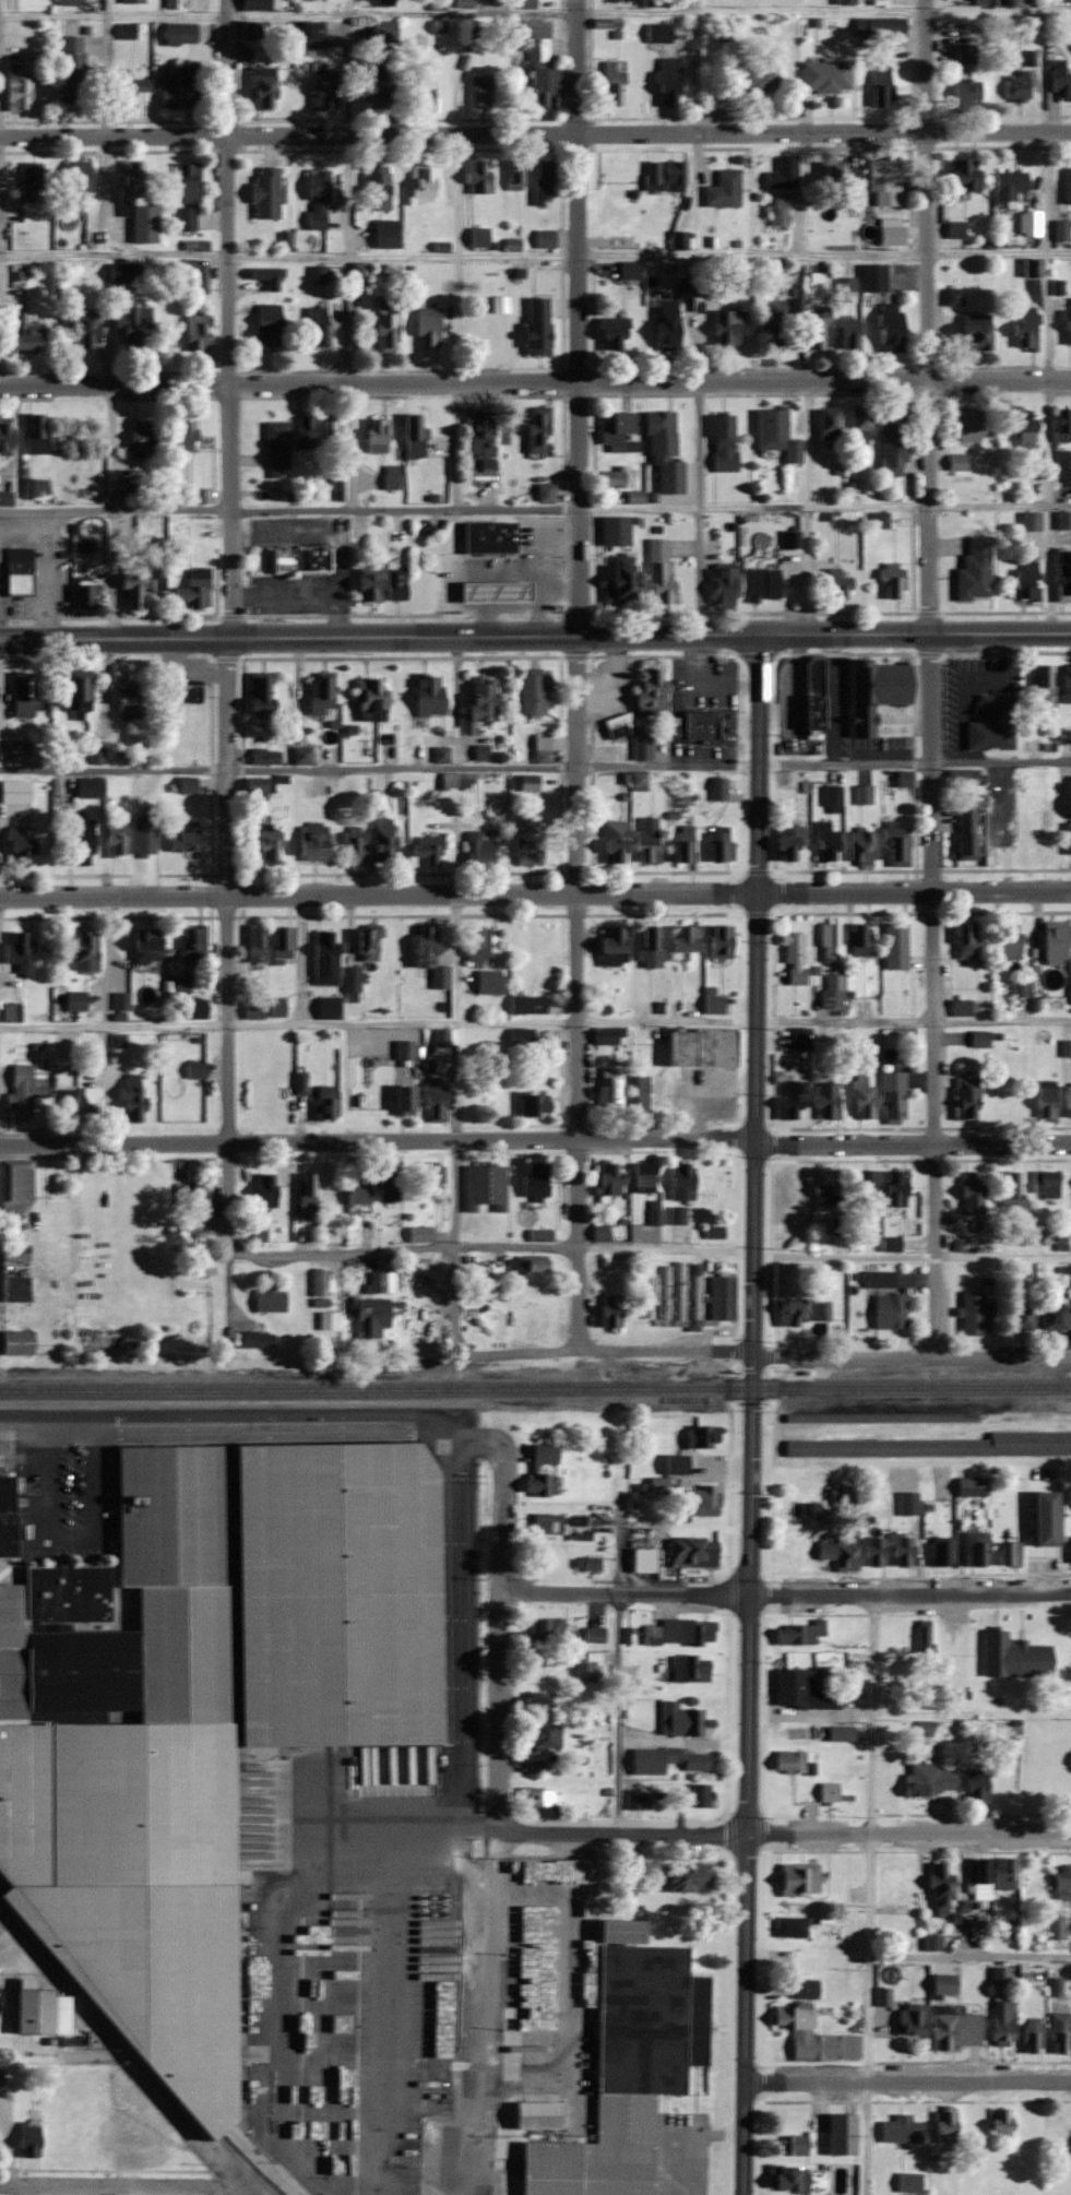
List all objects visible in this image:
building: (382, 2)
building: (843, 2)
building: (67, 3)
building: (462, 3)
road: (823, 12)
road: (289, 14)
road: (459, 15)
building: (878, 27)
building: (124, 32)
building: (382, 32)
building: (656, 33)
building: (178, 34)
building: (309, 34)
building: (531, 38)
building: (378, 51)
building: (963, 54)
road: (694, 64)
road: (105, 66)
building: (70, 70)
building: (823, 76)
building: (750, 79)
building: (1059, 80)
building: (665, 82)
building: (608, 85)
building: (1015, 85)
building: (374, 87)
building: (879, 88)
building: (259, 90)
building: (322, 90)
building: (14, 91)
building: (178, 91)
building: (421, 91)
building: (539, 91)
building: (127, 92)
building: (478, 92)
building: (965, 92)
road: (535, 130)
building: (782, 174)
building: (512, 175)
building: (962, 175)
building: (663, 177)
building: (831, 177)
building: (881, 177)
building: (475, 178)
building: (74, 179)
building: (1067, 181)
building: (28, 182)
building: (129, 182)
building: (420, 182)
building: (540, 183)
building: (185, 185)
building: (1007, 186)
building: (722, 190)
road: (227, 191)
building: (373, 191)
building: (263, 193)
road: (105, 200)
building: (314, 200)
building: (776, 212)
building: (1031, 223)
building: (142, 225)
building: (954, 229)
building: (889, 232)
building: (383, 234)
building: (476, 237)
building: (543, 239)
road: (463, 251)
road: (999, 251)
building: (628, 270)
building: (264, 277)
building: (871, 277)
building: (197, 280)
building: (951, 296)
road: (927, 317)
road: (454, 318)
road: (580, 318)
building: (771, 322)
building: (664, 324)
building: (1066, 324)
building: (316, 327)
building: (535, 327)
building: (724, 327)
building: (1024, 327)
building: (80, 328)
building: (134, 328)
building: (265, 328)
building: (426, 328)
building: (888, 328)
building: (382, 329)
building: (817, 329)
building: (480, 330)
building: (193, 332)
building: (610, 333)
building: (848, 333)
building: (22, 334)
building: (972, 339)
road: (535, 382)
road: (1048, 382)
building: (965, 424)
building: (858, 425)
building: (1020, 426)
building: (1061, 426)
building: (776, 428)
building: (825, 428)
building: (535, 430)
building: (617, 431)
building: (329, 432)
building: (302, 434)
building: (180, 435)
building: (33, 436)
building: (138, 437)
building: (412, 437)
building: (374, 438)
building: (727, 438)
building: (3, 439)
building: (480, 439)
building: (891, 442)
road: (348, 446)
building: (274, 449)
building: (662, 451)
building: (1063, 461)
building: (389, 477)
building: (611, 478)
building: (33, 489)
building: (543, 494)
building: (190, 497)
building: (633, 497)
road: (825, 505)
road: (404, 506)
road: (808, 508)
road: (698, 509)
road: (110, 512)
road: (115, 512)
road: (230, 512)
building: (1030, 521)
building: (614, 531)
building: (487, 538)
building: (297, 561)
building: (973, 570)
building: (658, 571)
building: (16, 572)
building: (1062, 577)
building: (891, 581)
building: (154, 583)
building: (367, 583)
building: (1024, 583)
building: (757, 584)
building: (393, 585)
building: (618, 585)
building: (836, 585)
building: (721, 589)
building: (190, 590)
building: (130, 591)
building: (490, 593)
building: (81, 597)
road: (535, 638)
building: (883, 681)
building: (1064, 689)
building: (180, 690)
building: (531, 690)
building: (1042, 690)
building: (78, 691)
building: (648, 691)
building: (318, 692)
building: (258, 693)
building: (427, 693)
building: (816, 693)
building: (21, 695)
building: (368, 698)
building: (127, 699)
building: (476, 699)
building: (990, 723)
building: (698, 726)
building: (640, 746)
building: (11, 749)
building: (439, 754)
building: (106, 755)
building: (300, 755)
building: (262, 756)
road: (535, 764)
building: (962, 776)
building: (636, 780)
building: (185, 784)
building: (87, 786)
building: (254, 787)
building: (716, 787)
building: (13, 792)
building: (862, 794)
building: (832, 798)
building: (965, 833)
building: (1067, 837)
building: (381, 839)
building: (645, 839)
building: (112, 840)
building: (180, 840)
building: (310, 840)
building: (79, 841)
building: (612, 841)
building: (785, 841)
building: (264, 842)
building: (682, 842)
building: (824, 842)
building: (353, 843)
building: (526, 843)
building: (717, 843)
building: (141, 845)
building: (895, 845)
building: (17, 846)
building: (858, 846)
building: (477, 850)
building: (425, 851)
road: (535, 893)
building: (682, 937)
building: (858, 939)
building: (717, 940)
building: (964, 940)
building: (1008, 940)
building: (1051, 941)
building: (281, 942)
building: (829, 942)
building: (365, 944)
building: (901, 944)
building: (143, 945)
building: (190, 945)
building: (253, 945)
building: (475, 945)
building: (647, 946)
building: (610, 947)
building: (83, 950)
building: (17, 953)
building: (428, 954)
building: (323, 957)
building: (800, 957)
road: (297, 959)
building: (486, 982)
building: (349, 983)
building: (1019, 986)
road: (227, 988)
building: (831, 990)
building: (1070, 993)
road: (579, 994)
road: (932, 996)
building: (73, 1000)
building: (525, 1002)
building: (711, 1004)
building: (192, 1007)
building: (326, 1007)
building: (959, 1007)
building: (250, 1010)
building: (9, 1012)
road: (913, 1016)
road: (104, 1019)
road: (378, 1021)
building: (606, 1034)
building: (799, 1037)
building: (978, 1039)
building: (700, 1047)
building: (402, 1048)
building: (192, 1069)
building: (298, 1082)
building: (19, 1091)
building: (607, 1091)
building: (644, 1094)
building: (129, 1095)
building: (400, 1096)
building: (891, 1096)
building: (860, 1097)
building: (964, 1097)
building: (432, 1099)
building: (788, 1100)
building: (824, 1100)
building: (1044, 1100)
building: (1067, 1100)
building: (323, 1101)
building: (361, 1101)
building: (529, 1103)
building: (87, 1104)
building: (1004, 1104)
building: (66, 1107)
road: (535, 1138)
building: (604, 1176)
building: (431, 1178)
building: (533, 1179)
building: (642, 1179)
building: (475, 1180)
building: (386, 1182)
building: (680, 1182)
building: (1044, 1184)
building: (14, 1185)
building: (865, 1185)
building: (326, 1187)
building: (355, 1187)
building: (826, 1187)
building: (894, 1188)
building: (1010, 1190)
building: (261, 1191)
building: (305, 1191)
building: (969, 1194)
building: (786, 1198)
building: (192, 1209)
building: (676, 1215)
building: (653, 1217)
building: (255, 1233)
building: (597, 1233)
building: (712, 1233)
building: (418, 1234)
building: (955, 1238)
road: (456, 1247)
road: (650, 1247)
building: (532, 1262)
building: (12, 1272)
building: (877, 1279)
building: (378, 1281)
building: (663, 1285)
building: (318, 1288)
building: (647, 1288)
building: (721, 1297)
building: (694, 1298)
building: (266, 1300)
building: (608, 1310)
building: (801, 1312)
building: (889, 1312)
building: (971, 1313)
building: (1019, 1318)
building: (1054, 1318)
building: (427, 1319)
building: (326, 1320)
building: (362, 1320)
building: (524, 1325)
building: (254, 1339)
building: (14, 1342)
road: (767, 1352)
railway: (535, 1388)
road: (754, 1415)
road: (912, 1426)
building: (700, 1436)
building: (940, 1446)
building: (567, 1454)
road: (909, 1456)
building: (674, 1463)
building: (534, 1469)
building: (656, 1485)
building: (969, 1486)
building: (702, 1502)
building: (906, 1503)
building: (1045, 1518)
building: (545, 1522)
building: (980, 1546)
building: (899, 1549)
building: (871, 1551)
building: (937, 1551)
building: (1069, 1551)
road: (618, 1552)
building: (690, 1552)
building: (837, 1553)
building: (1008, 1553)
building: (640, 1561)
building: (585, 1564)
road: (786, 1592)
road: (500, 1617)
building: (544, 1629)
building: (679, 1633)
building: (797, 1634)
building: (592, 1635)
building: (923, 1638)
building: (1020, 1653)
building: (585, 1669)
building: (689, 1669)
building: (801, 1690)
building: (535, 1701)
building: (199, 1706)
road: (616, 1710)
road: (971, 1713)
road: (811, 1715)
building: (679, 1720)
building: (787, 1732)
building: (538, 1735)
road: (683, 1746)
building: (664, 1760)
building: (787, 1761)
building: (926, 1780)
building: (885, 1785)
building: (974, 1787)
building: (826, 1792)
building: (697, 1796)
building: (537, 1797)
building: (635, 1802)
road: (784, 1832)
building: (1001, 1874)
building: (685, 1877)
building: (977, 1877)
building: (805, 1879)
building: (1060, 1883)
building: (938, 1887)
road: (870, 1894)
building: (797, 1924)
building: (1054, 1926)
building: (1009, 1929)
building: (930, 1942)
road: (969, 1954)
road: (495, 1955)
building: (998, 1977)
building: (941, 1984)
building: (804, 1988)
building: (697, 1991)
building: (29, 2012)
building: (909, 2019)
building: (999, 2021)
building: (952, 2029)
building: (1058, 2033)
building: (811, 2036)
building: (1030, 2036)
railway: (136, 2041)
building: (620, 2071)
building: (0, 2079)
road: (908, 2080)
building: (533, 2115)
building: (998, 2123)
building: (907, 2125)
building: (943, 2127)
road: (680, 2131)
building: (847, 2133)
building: (26, 2141)
building: (50, 2143)
building: (81, 2144)
building: (793, 2145)
building: (131, 2146)
building: (784, 2179)
building: (907, 2182)
road: (110, 2184)
road: (23, 2190)
road: (141, 2190)

